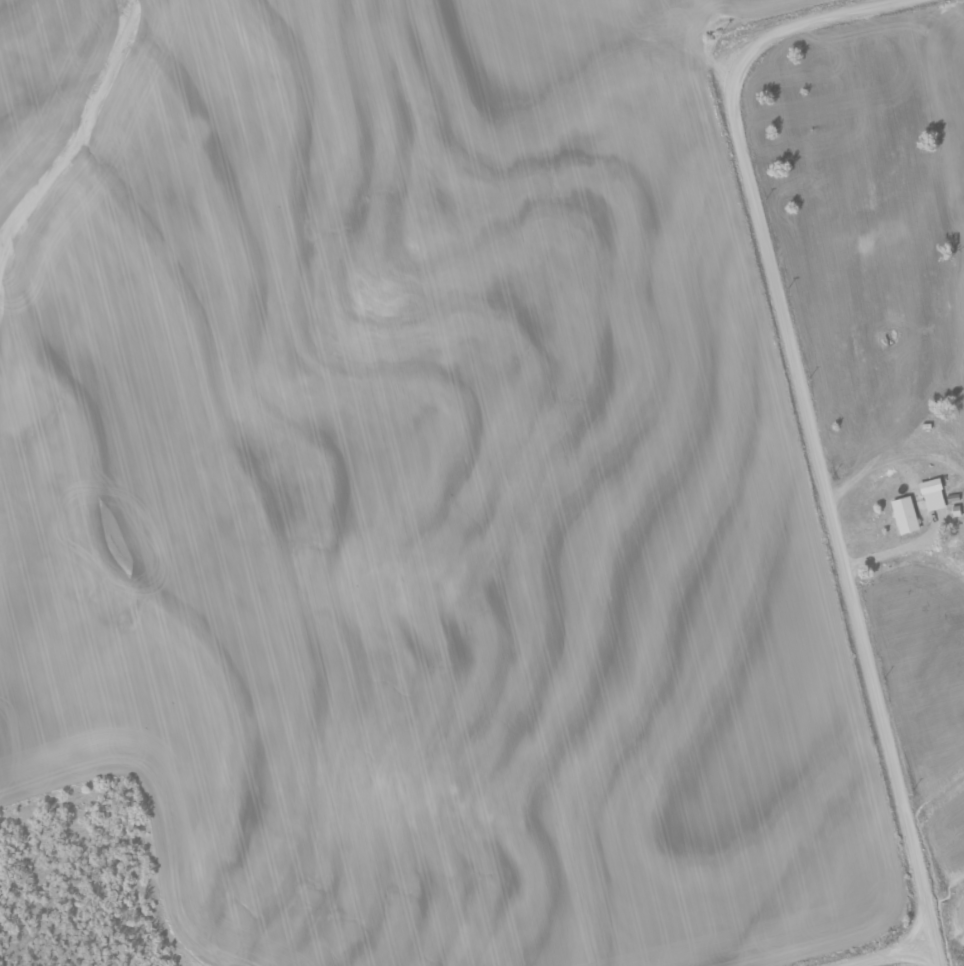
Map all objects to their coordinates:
road: (811, 428)
building: (934, 495)
building: (906, 515)
road: (886, 954)

